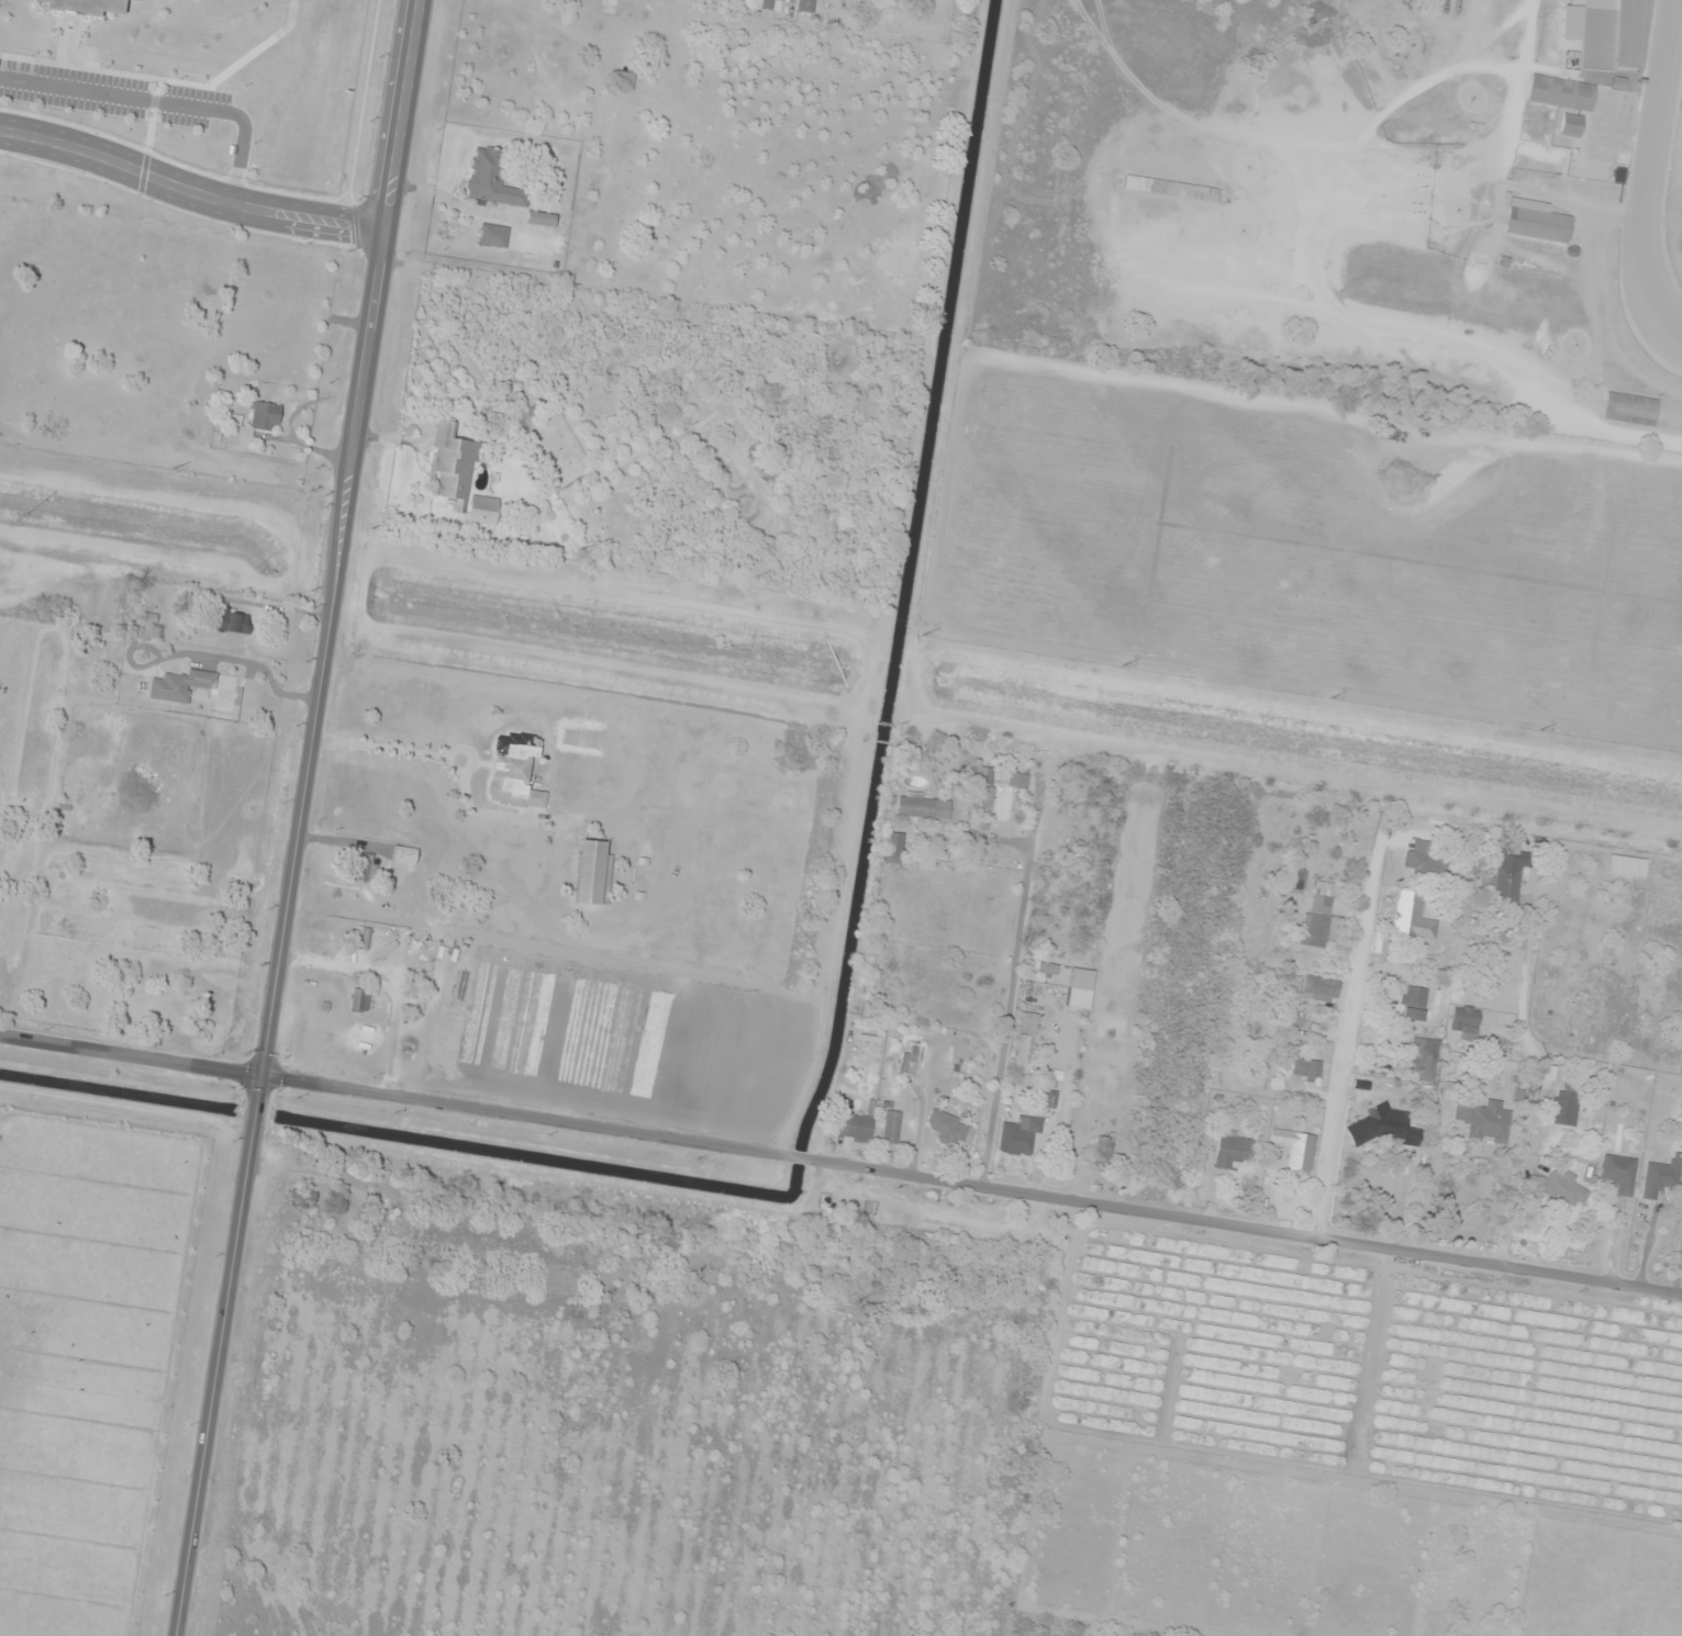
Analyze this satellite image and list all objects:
building: (87, 5)
building: (805, 5)
building: (621, 9)
building: (1608, 35)
building: (624, 79)
building: (1562, 93)
road: (164, 104)
building: (1571, 125)
building: (492, 180)
road: (188, 189)
building: (1171, 190)
building: (542, 220)
building: (1537, 222)
building: (493, 236)
road: (1307, 279)
building: (1630, 410)
building: (525, 423)
building: (254, 425)
building: (452, 468)
building: (1541, 545)
building: (232, 621)
building: (197, 688)
building: (515, 772)
building: (981, 778)
building: (1009, 798)
building: (922, 806)
road: (300, 818)
building: (893, 848)
building: (405, 855)
building: (1421, 862)
building: (1627, 866)
building: (365, 870)
building: (593, 874)
building: (1511, 874)
building: (1296, 882)
building: (1321, 915)
building: (1413, 917)
building: (1041, 968)
building: (1444, 978)
building: (1081, 979)
building: (416, 982)
building: (1318, 990)
building: (365, 1000)
building: (1414, 1004)
building: (1299, 1019)
building: (1466, 1020)
building: (1028, 1024)
road: (1345, 1041)
road: (132, 1057)
building: (1429, 1061)
building: (909, 1065)
building: (1306, 1069)
building: (1566, 1109)
building: (1486, 1121)
building: (855, 1128)
building: (891, 1128)
building: (948, 1129)
building: (1391, 1131)
building: (1020, 1136)
building: (1234, 1150)
building: (1103, 1151)
building: (1297, 1151)
building: (1619, 1174)
building: (1661, 1179)
road: (973, 1180)
building: (1566, 1189)
building: (302, 1199)

